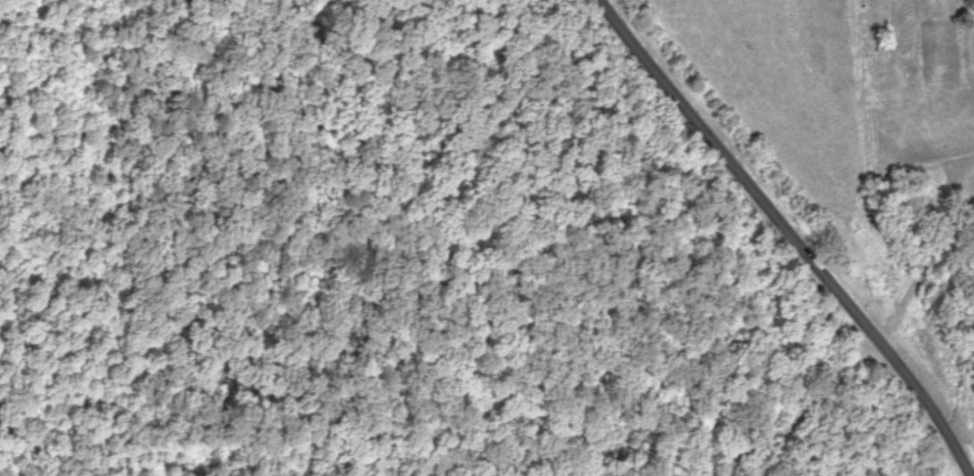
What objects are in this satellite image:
park: (922, 99)
road: (791, 234)

